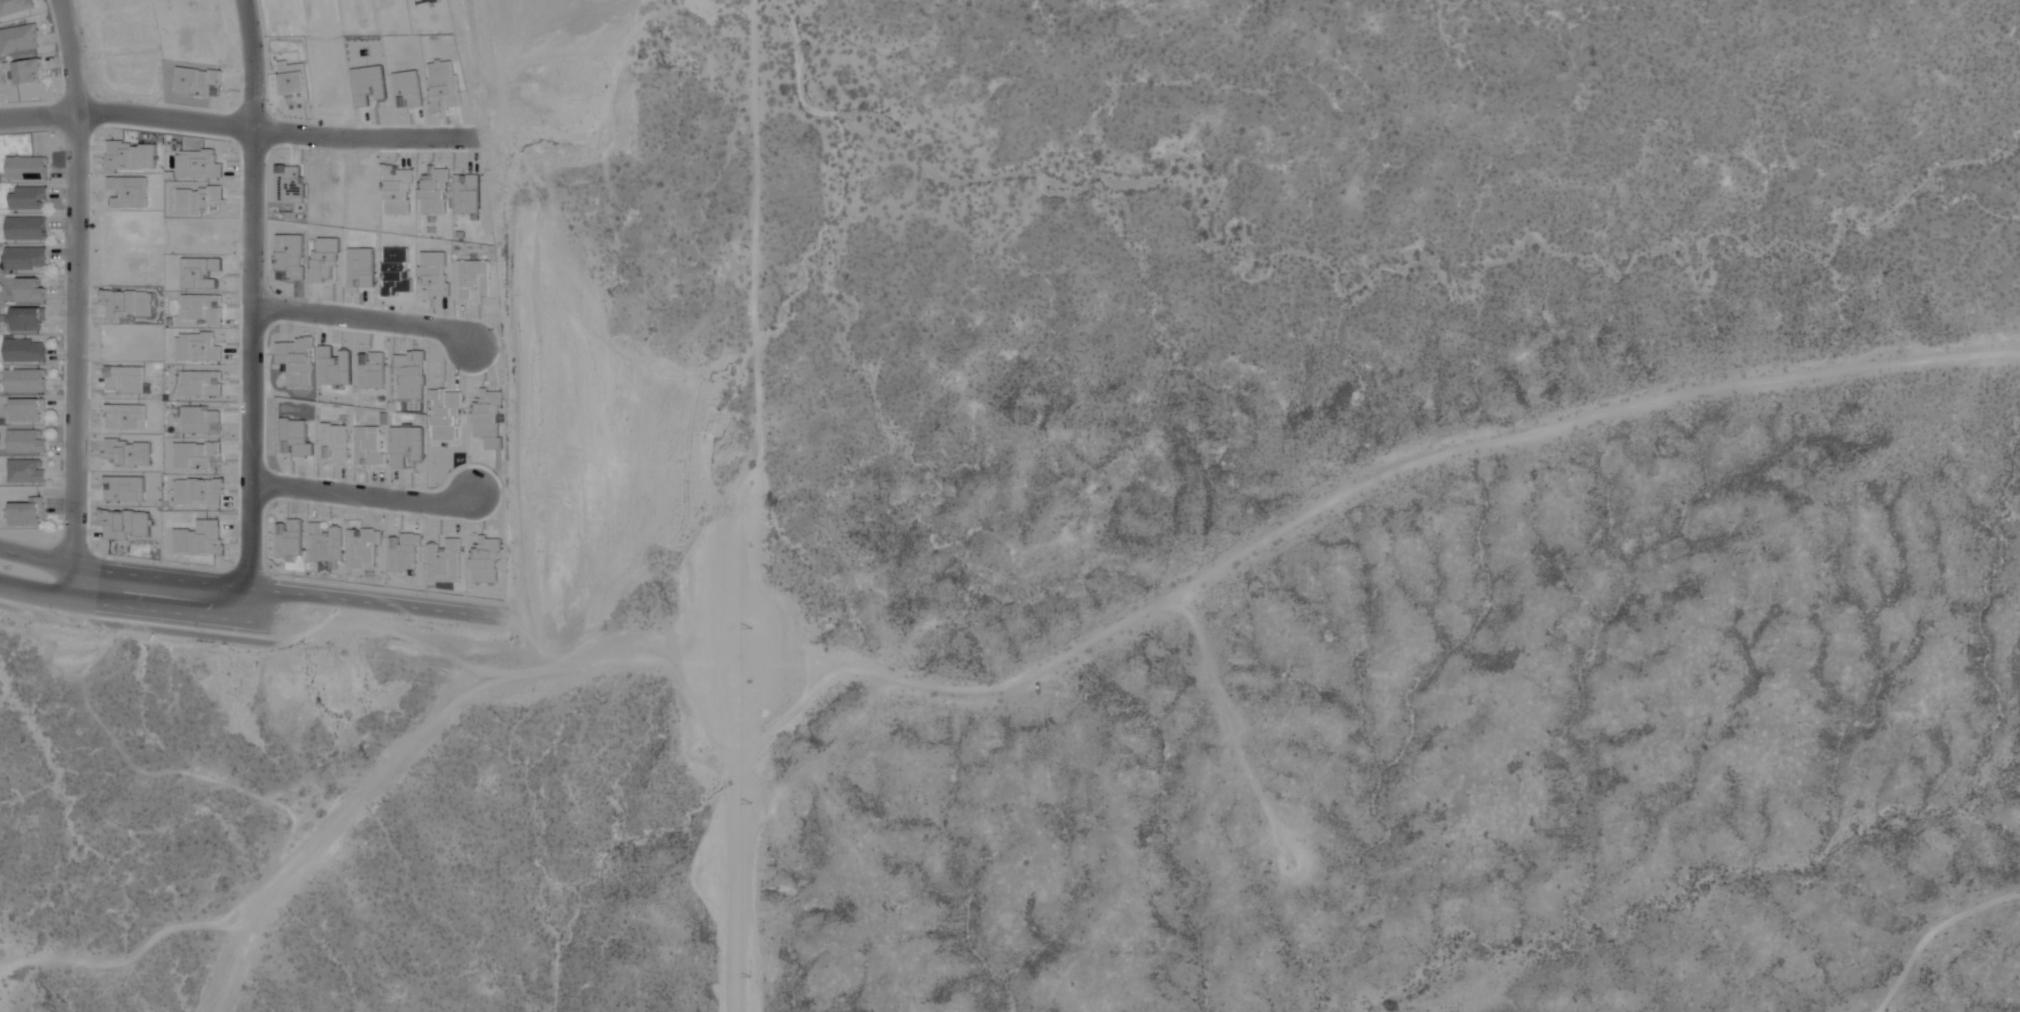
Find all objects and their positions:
building: (14, 6)
building: (19, 37)
building: (27, 69)
road: (236, 127)
street lamp: (63, 149)
building: (25, 168)
building: (25, 198)
building: (25, 229)
building: (24, 258)
building: (30, 291)
road: (76, 298)
road: (245, 310)
road: (359, 318)
building: (27, 320)
building: (24, 351)
street lamp: (61, 363)
building: (24, 380)
building: (26, 408)
building: (25, 439)
building: (24, 470)
road: (360, 500)
road: (757, 506)
building: (28, 511)
road: (246, 588)
street lamp: (55, 611)
road: (239, 620)
road: (1053, 658)

